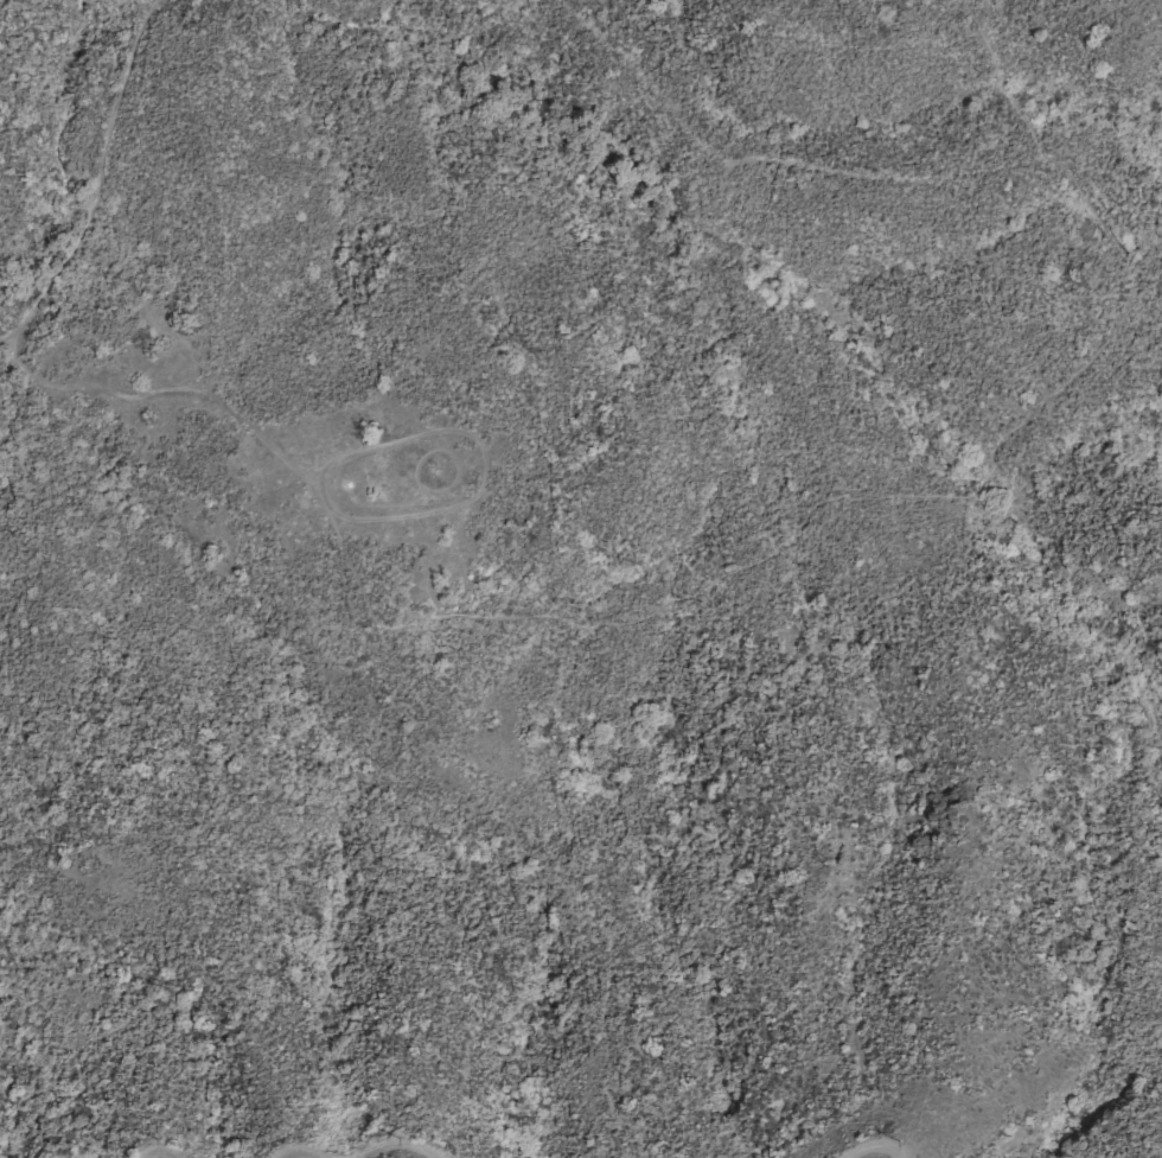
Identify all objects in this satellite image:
road: (97, 182)
road: (323, 469)
road: (480, 486)
road: (334, 507)
road: (727, 575)
road: (875, 1144)
road: (401, 1145)
road: (296, 1151)
road: (158, 1156)

